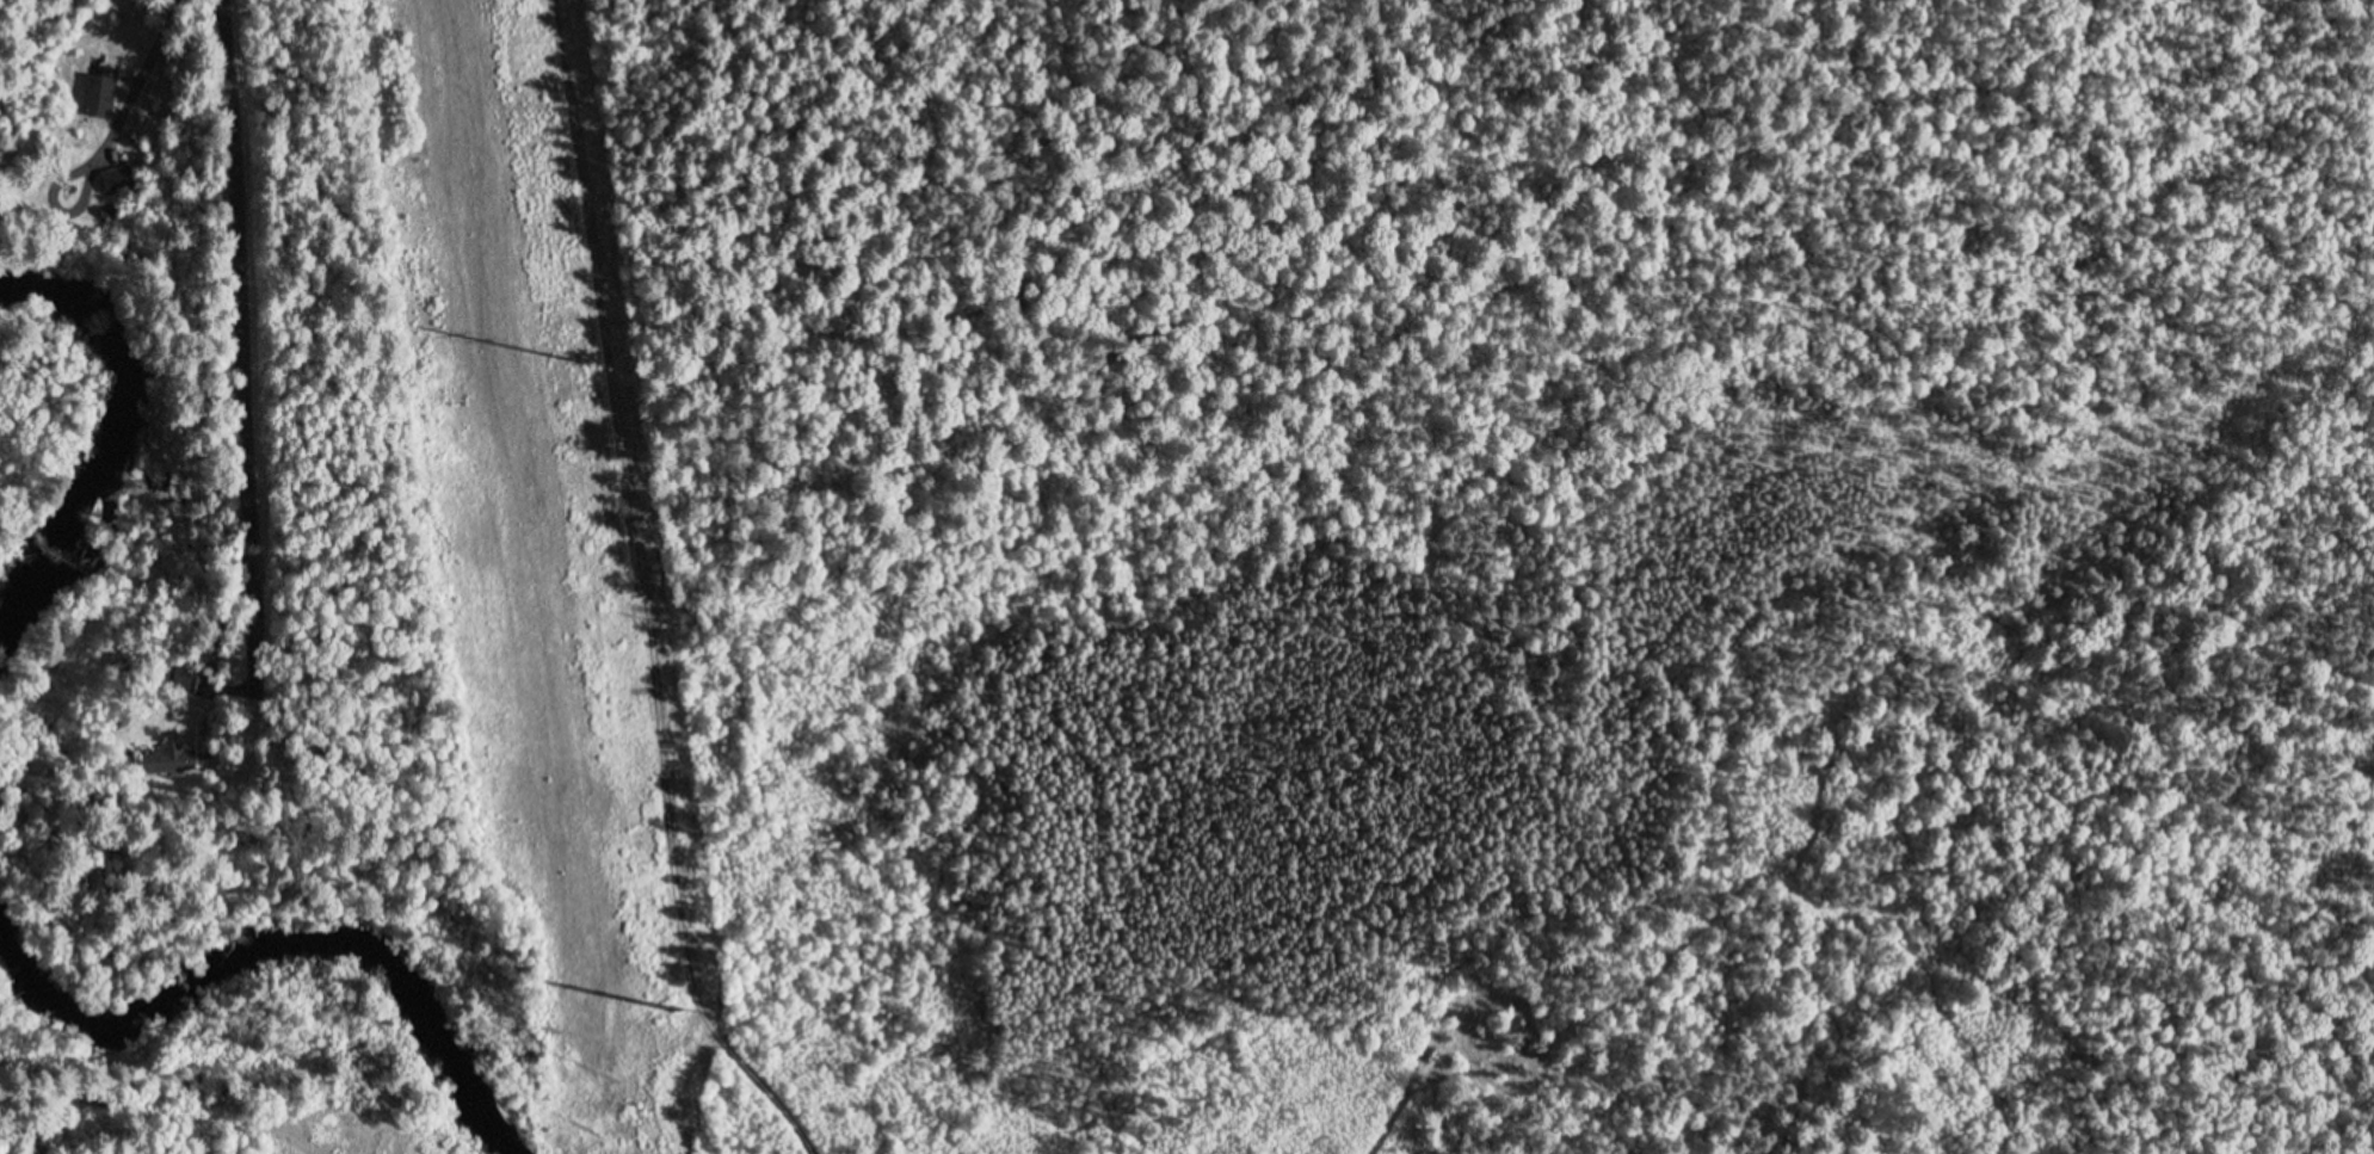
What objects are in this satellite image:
building: (97, 86)
road: (106, 138)
building: (113, 171)
road: (257, 348)
power tower: (584, 362)
river: (94, 446)
road: (646, 594)
building: (184, 679)
building: (173, 760)
river: (259, 951)
power tower: (674, 1011)
road: (90, 1103)

